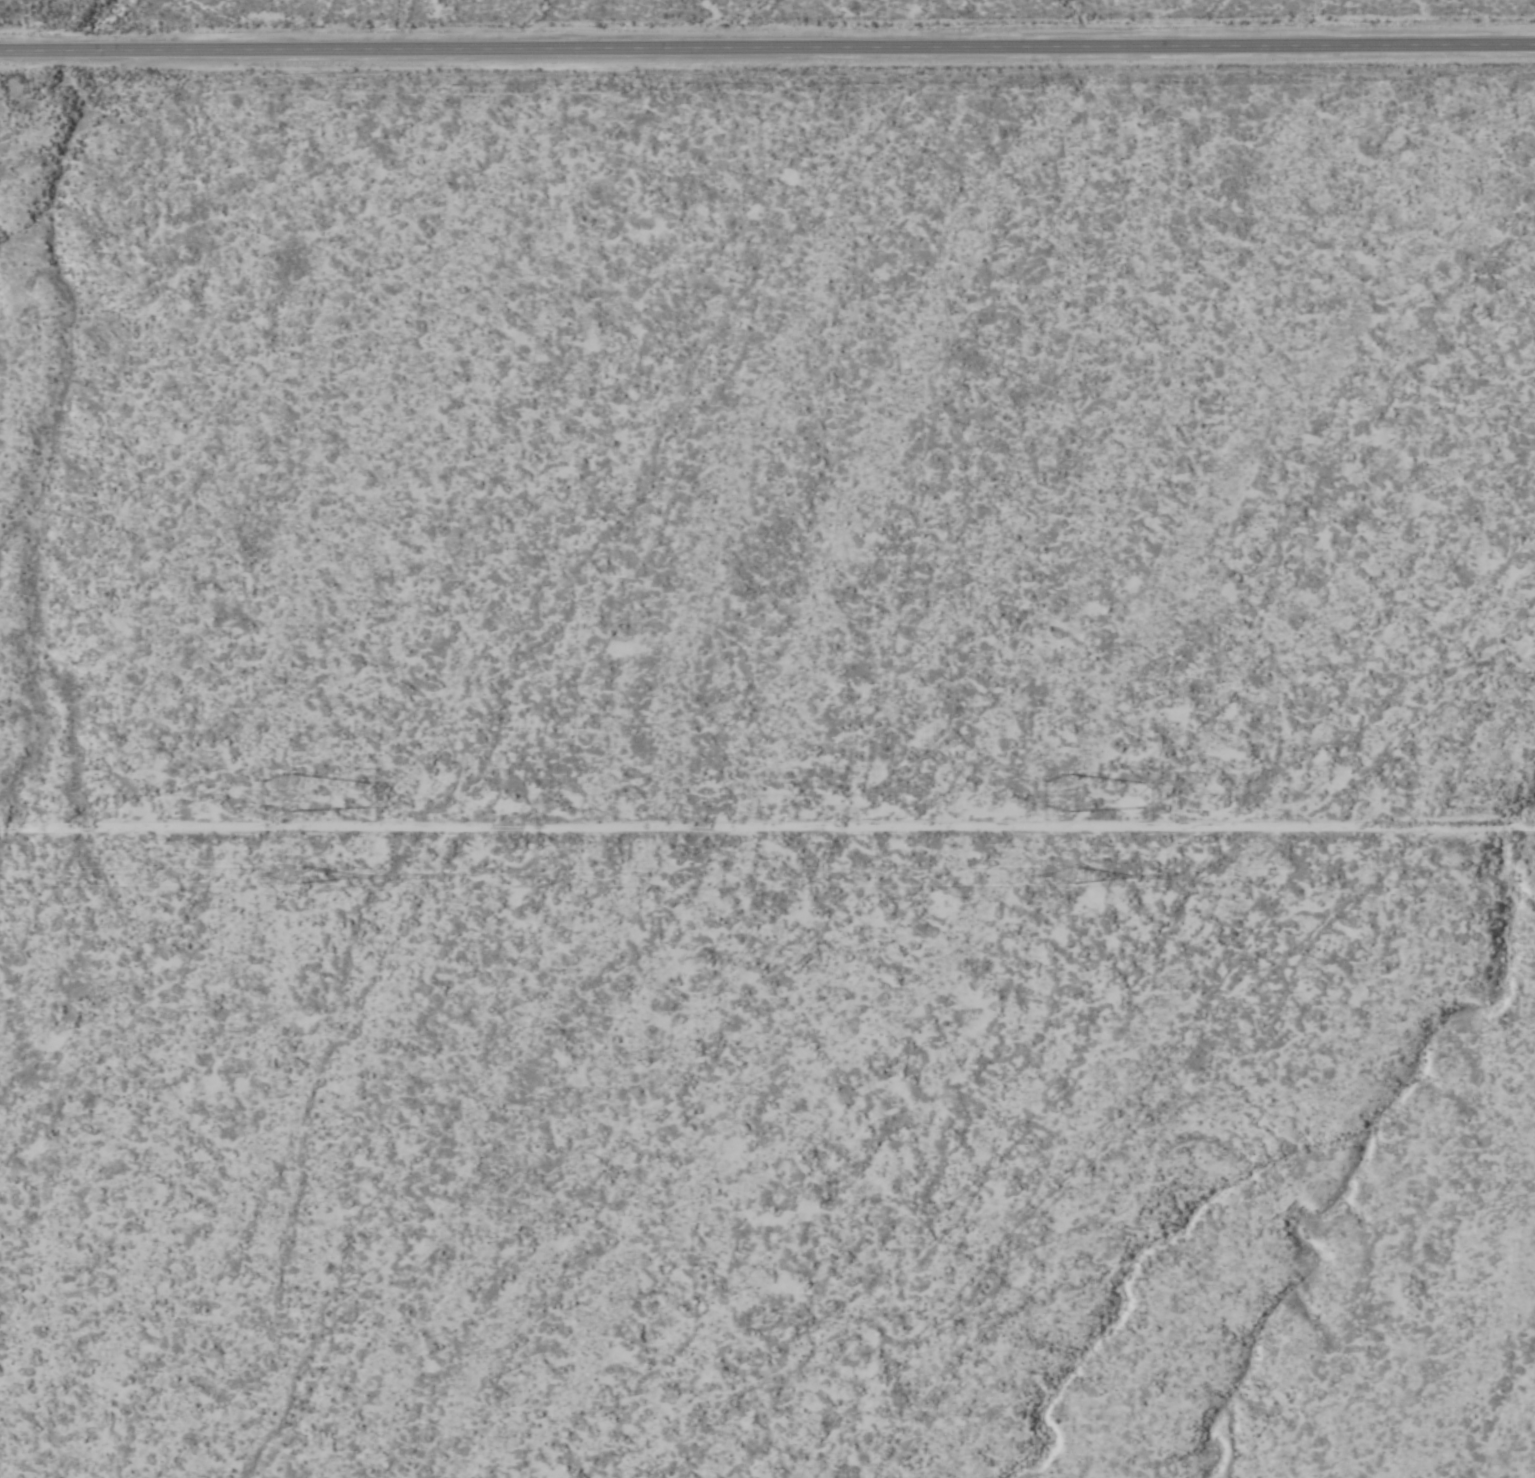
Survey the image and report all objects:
road: (767, 48)
power tower: (1082, 793)
power tower: (289, 798)
power tower: (295, 876)
power tower: (1074, 891)

